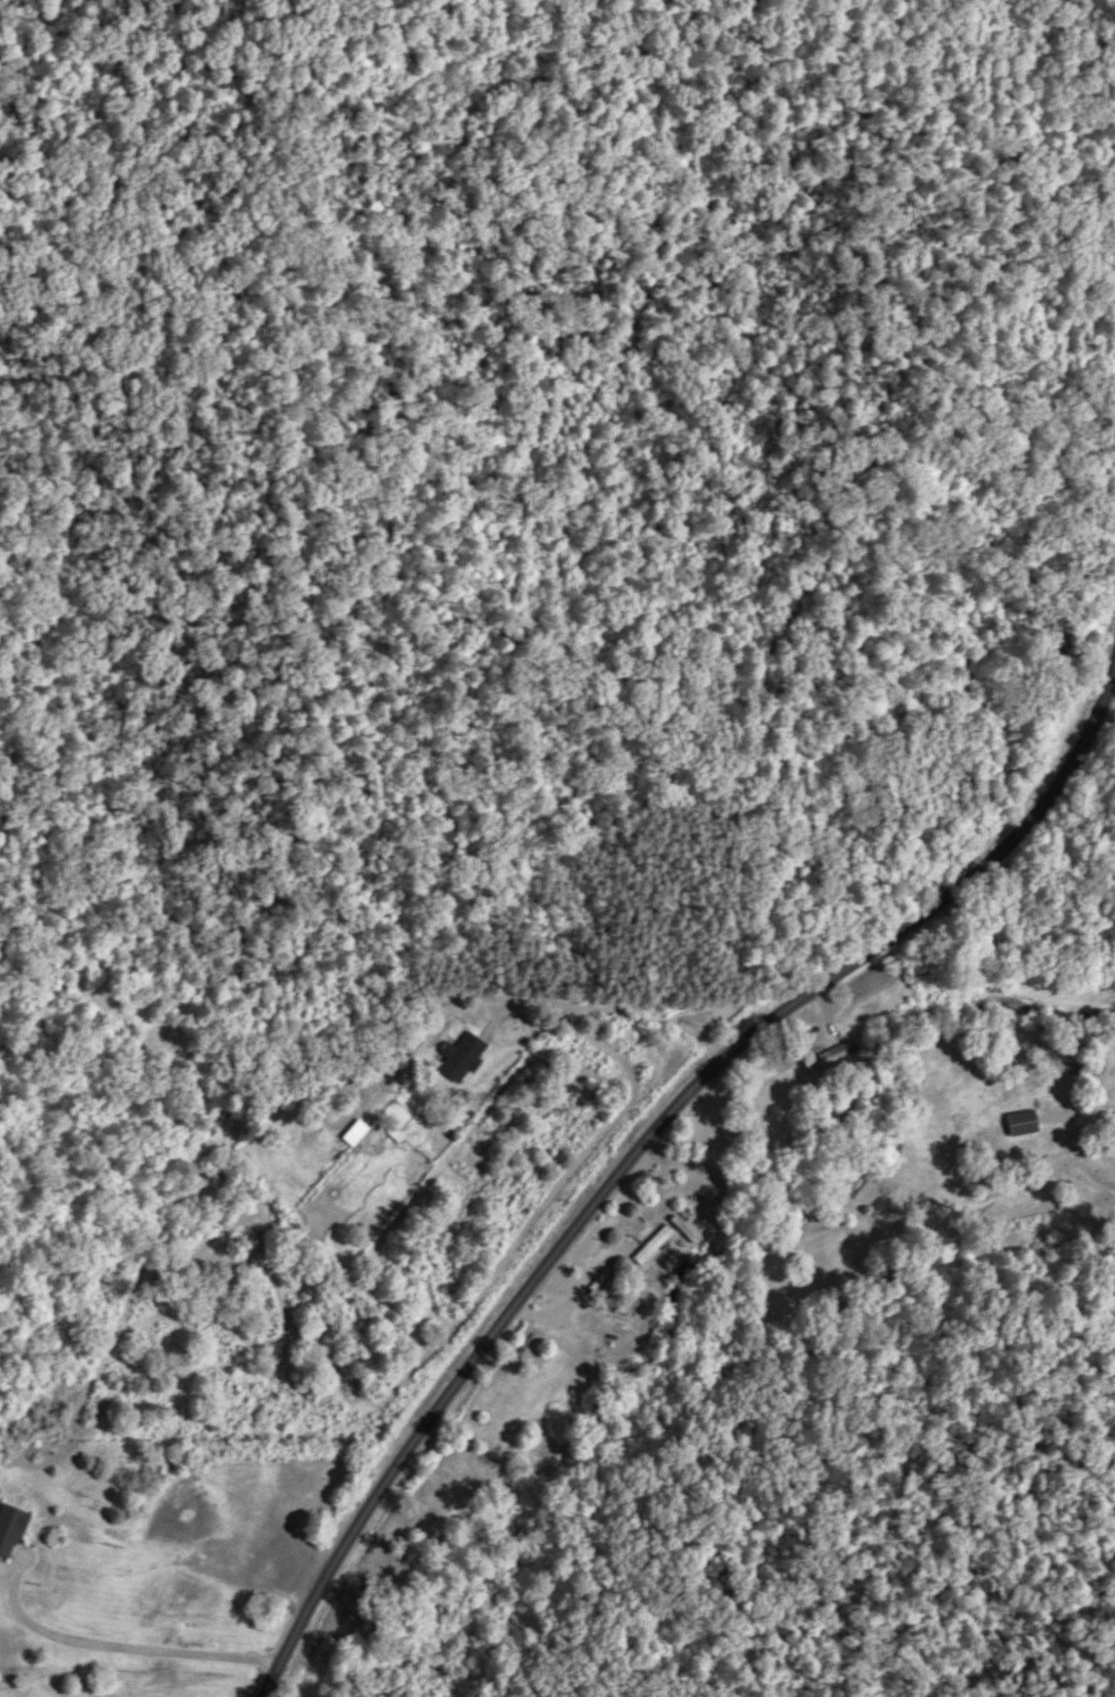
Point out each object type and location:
road: (433, 1025)
building: (1040, 1045)
building: (459, 1057)
building: (1083, 1066)
building: (338, 1075)
building: (312, 1079)
road: (645, 1145)
building: (886, 1151)
road: (585, 1330)
building: (9, 1530)
road: (114, 1647)

